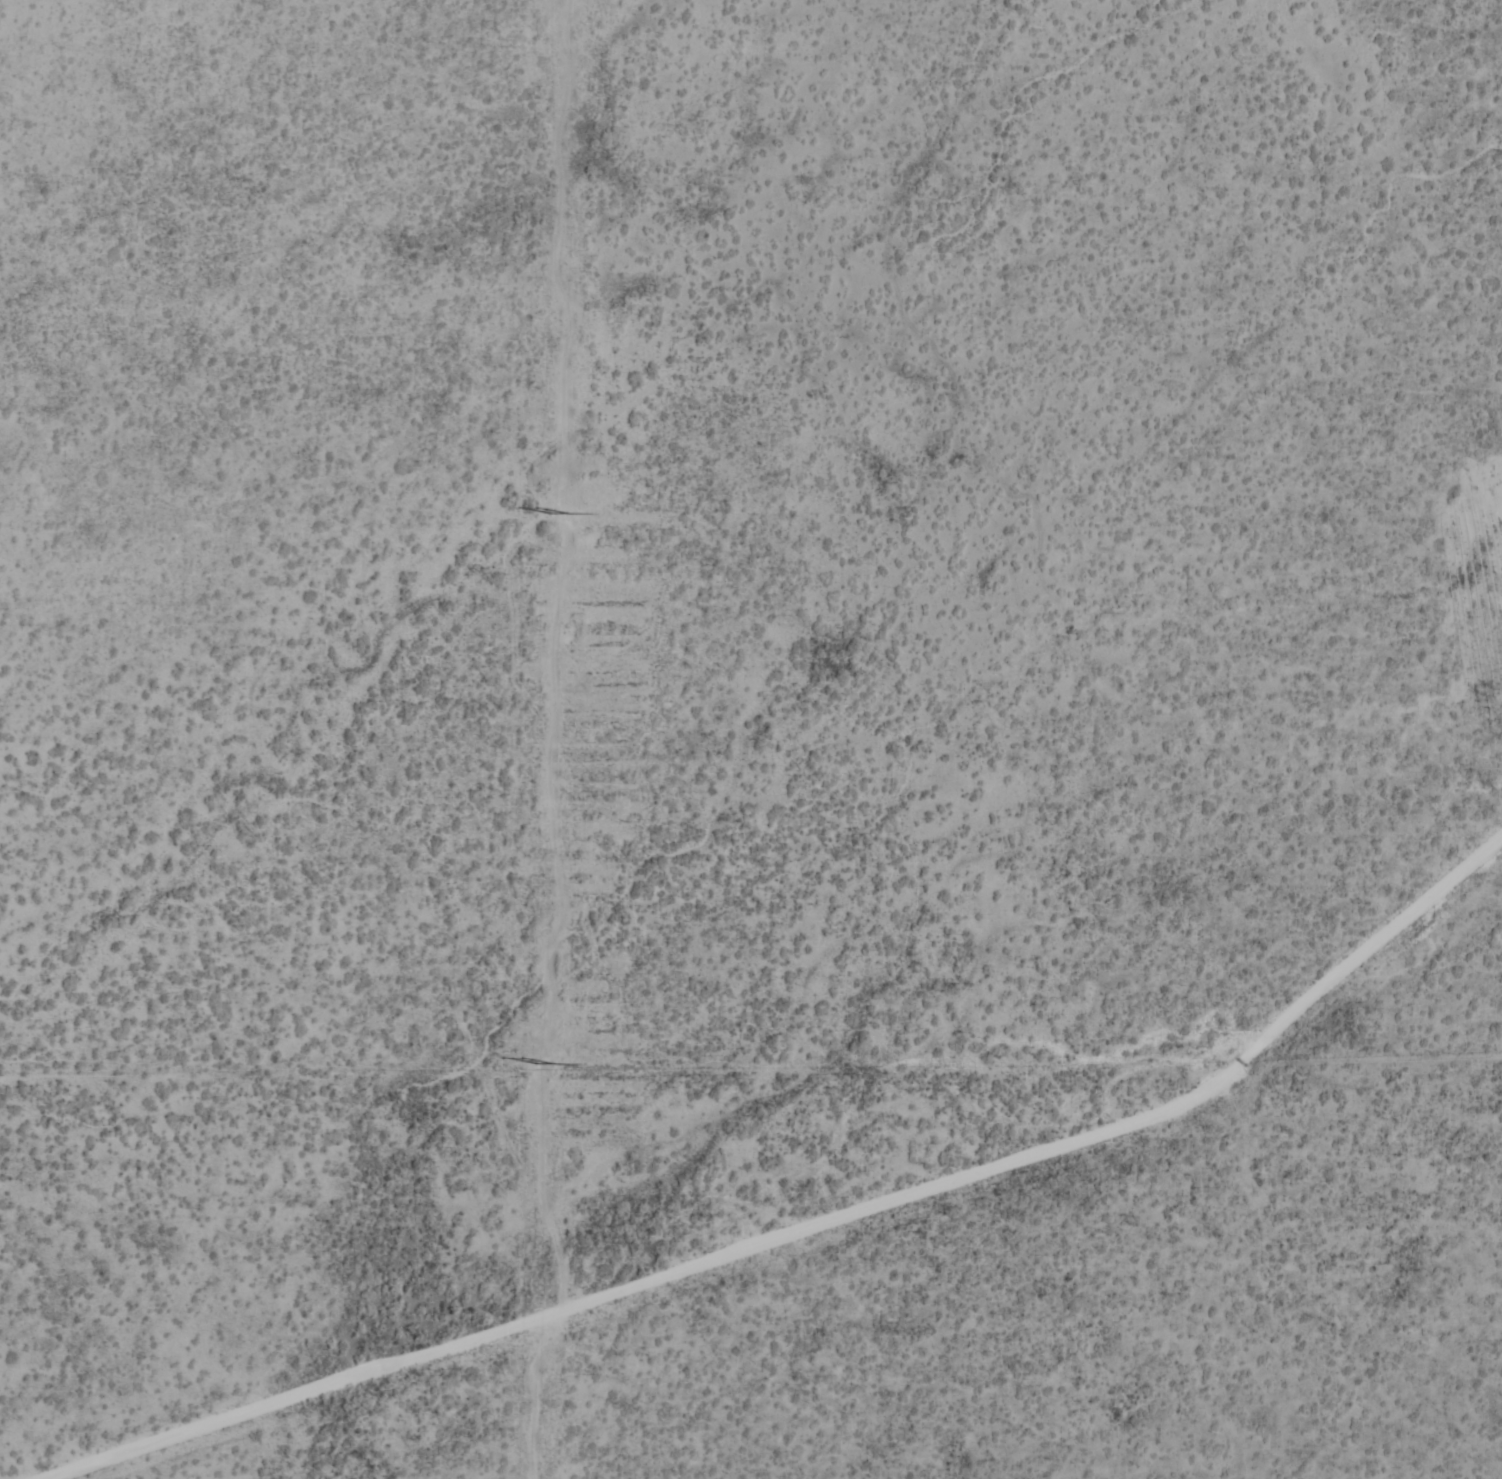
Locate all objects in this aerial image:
power tower: (556, 516)
power tower: (542, 1065)
road: (810, 1227)

